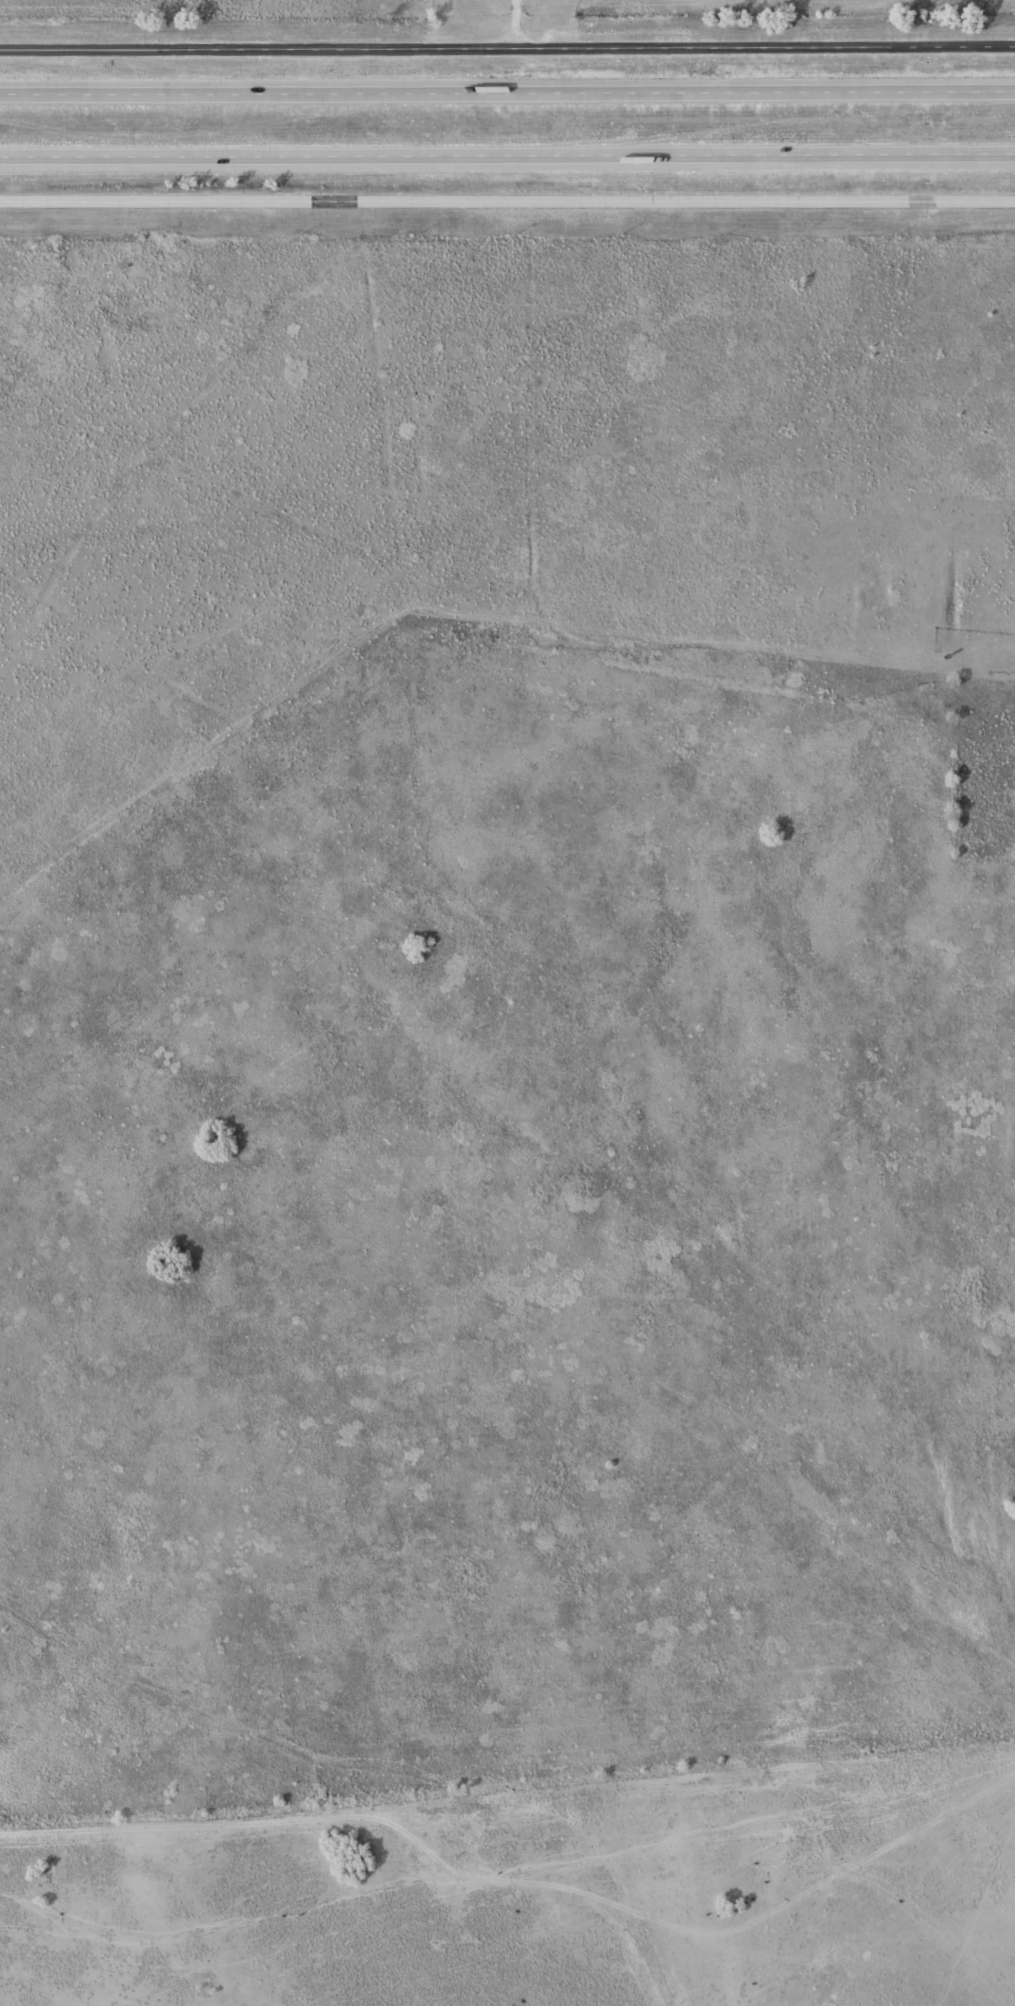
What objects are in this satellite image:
road: (507, 45)
road: (507, 88)
road: (507, 153)
road: (507, 199)

